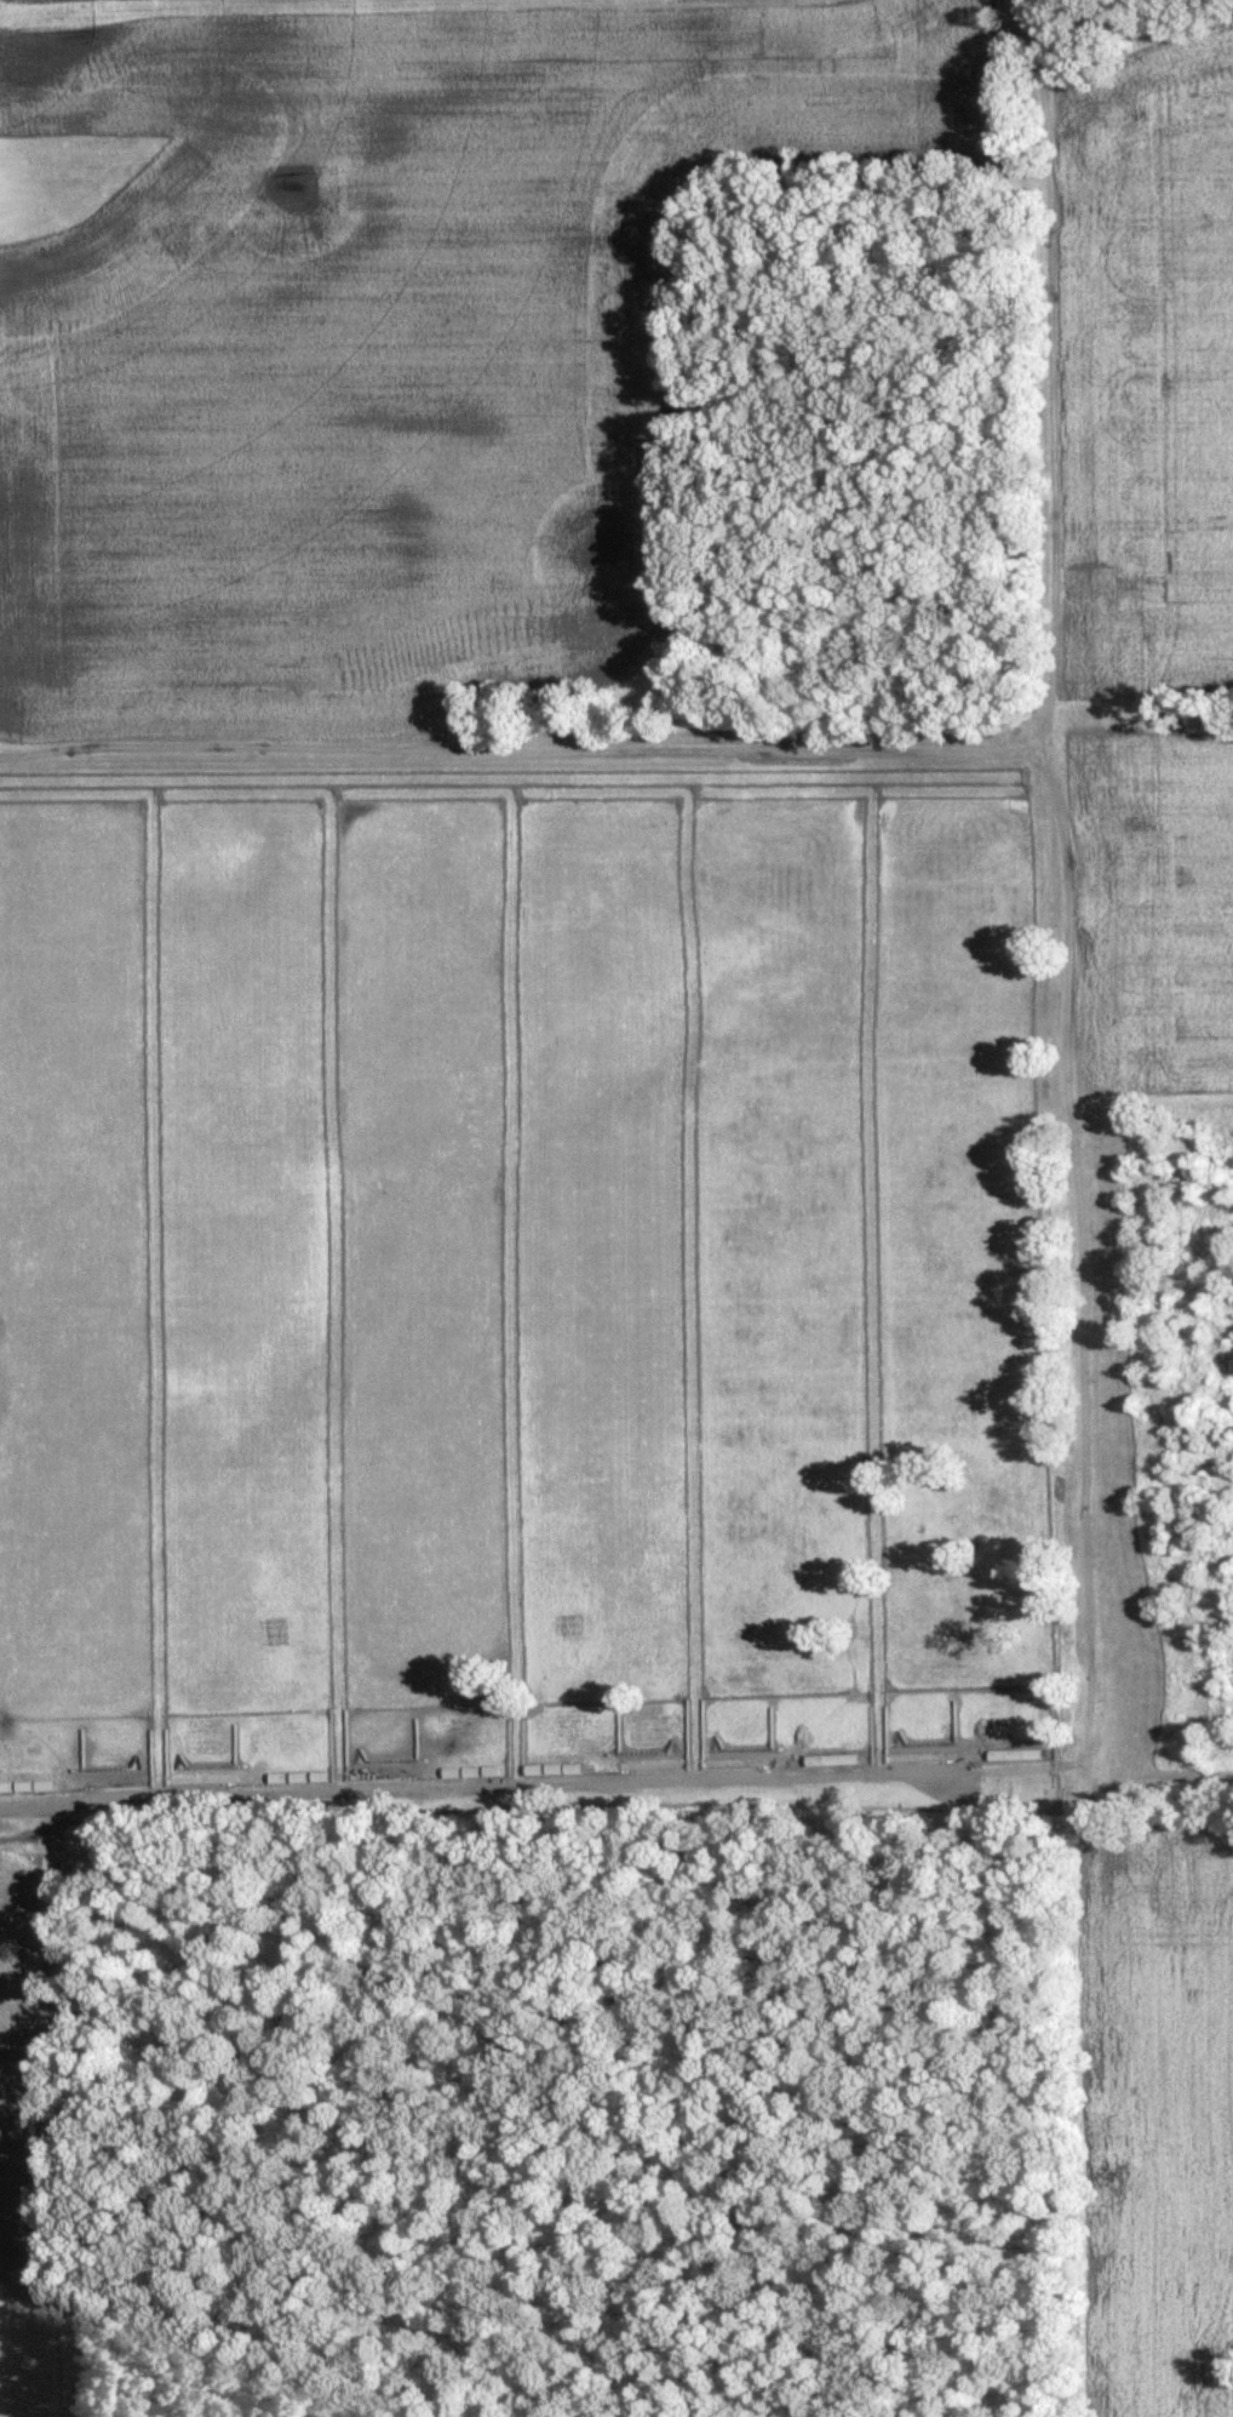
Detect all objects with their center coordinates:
road: (521, 754)
road: (1067, 1016)
road: (1090, 1577)
road: (489, 1794)

